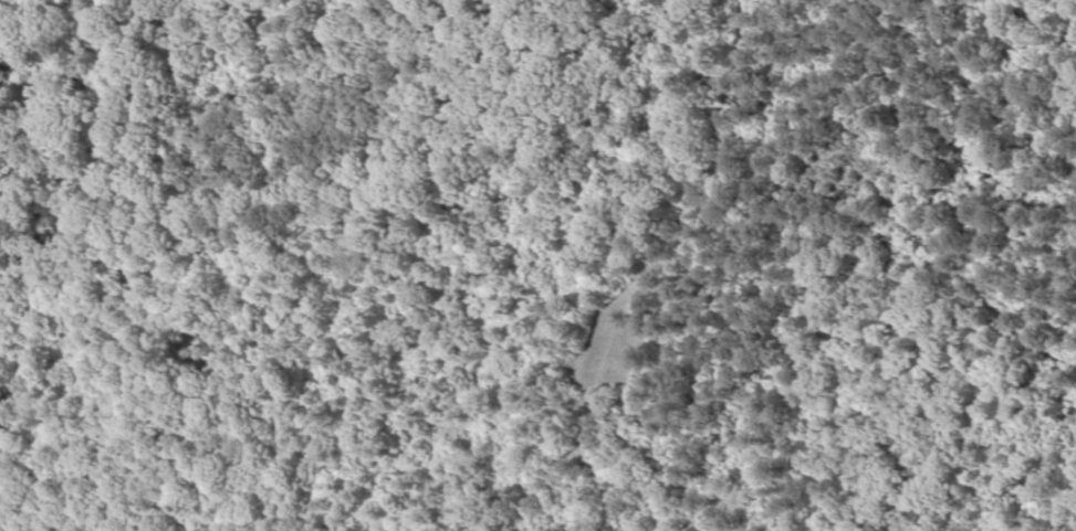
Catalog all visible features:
road: (604, 265)

